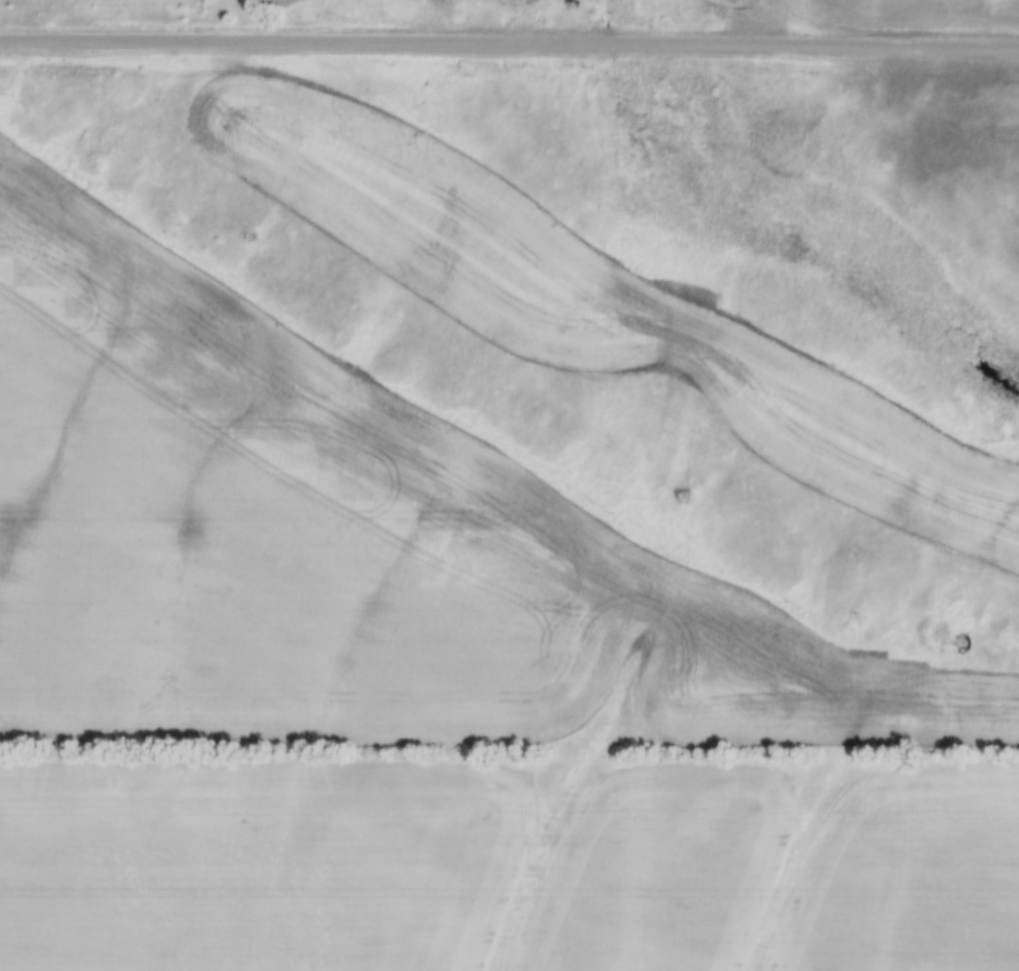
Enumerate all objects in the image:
road: (509, 42)

